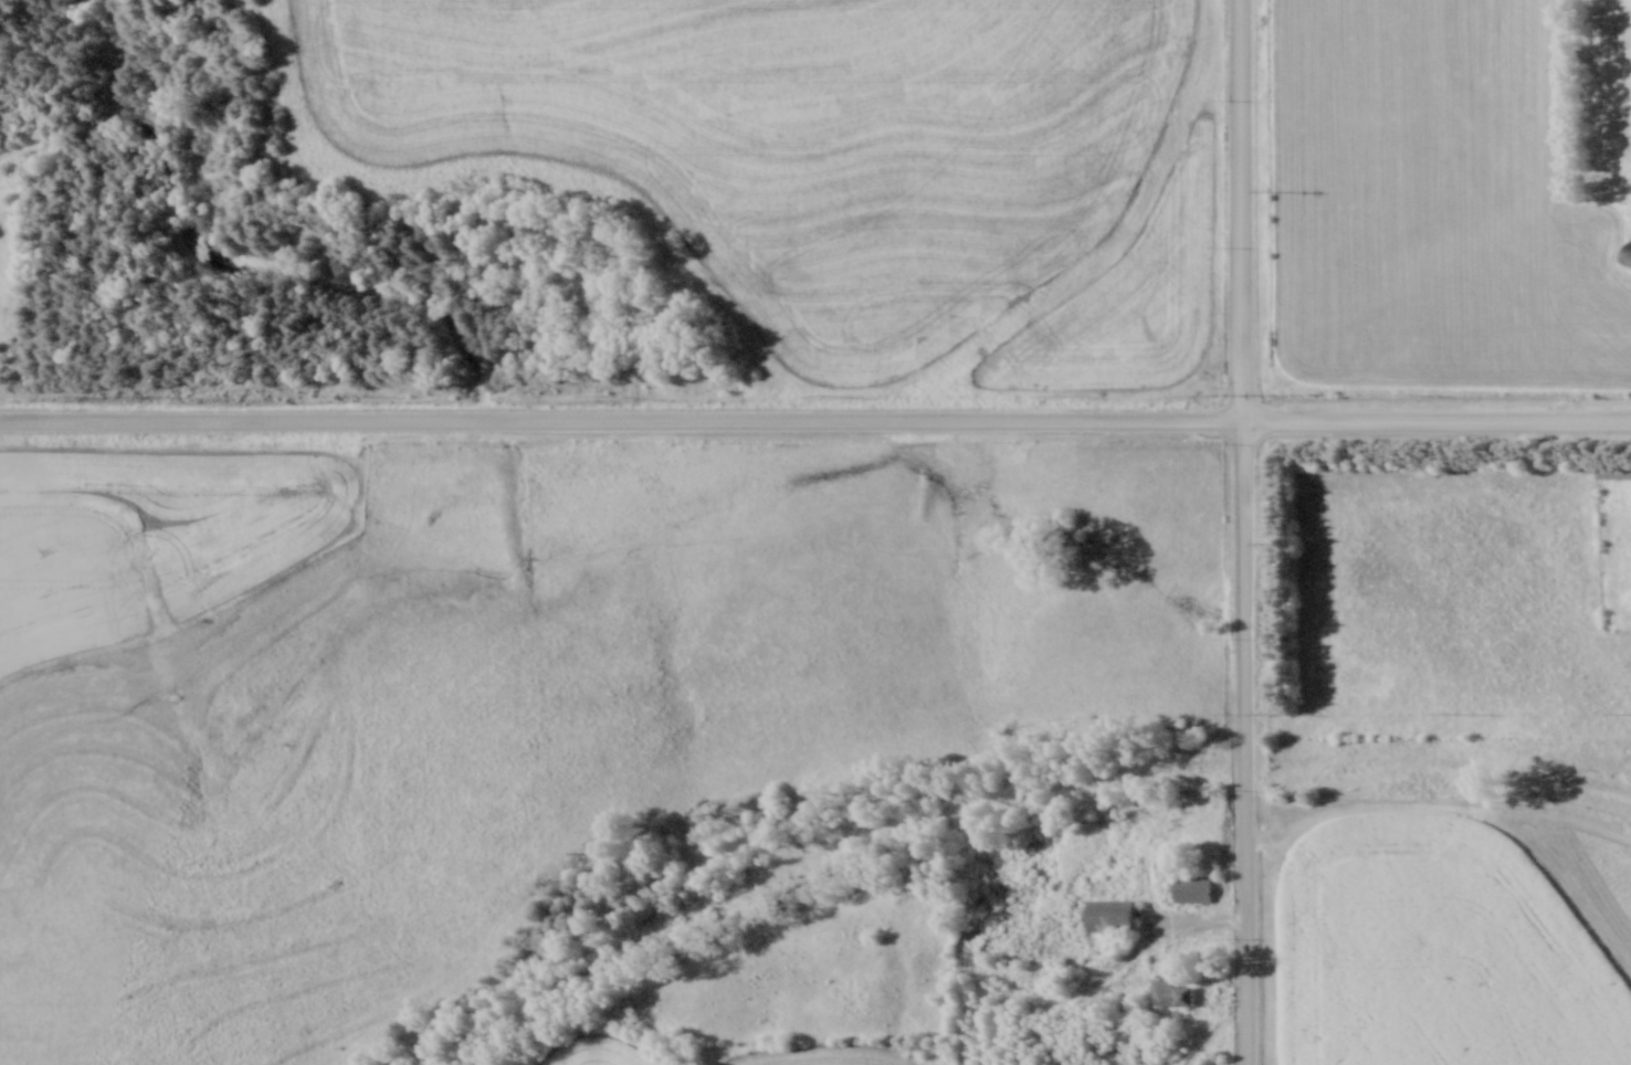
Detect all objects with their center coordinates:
building: (1619, 173)
road: (1243, 213)
road: (621, 422)
road: (1437, 425)
building: (1612, 470)
road: (1244, 745)
building: (1190, 886)
building: (1109, 914)
road: (1160, 937)
building: (1171, 991)

